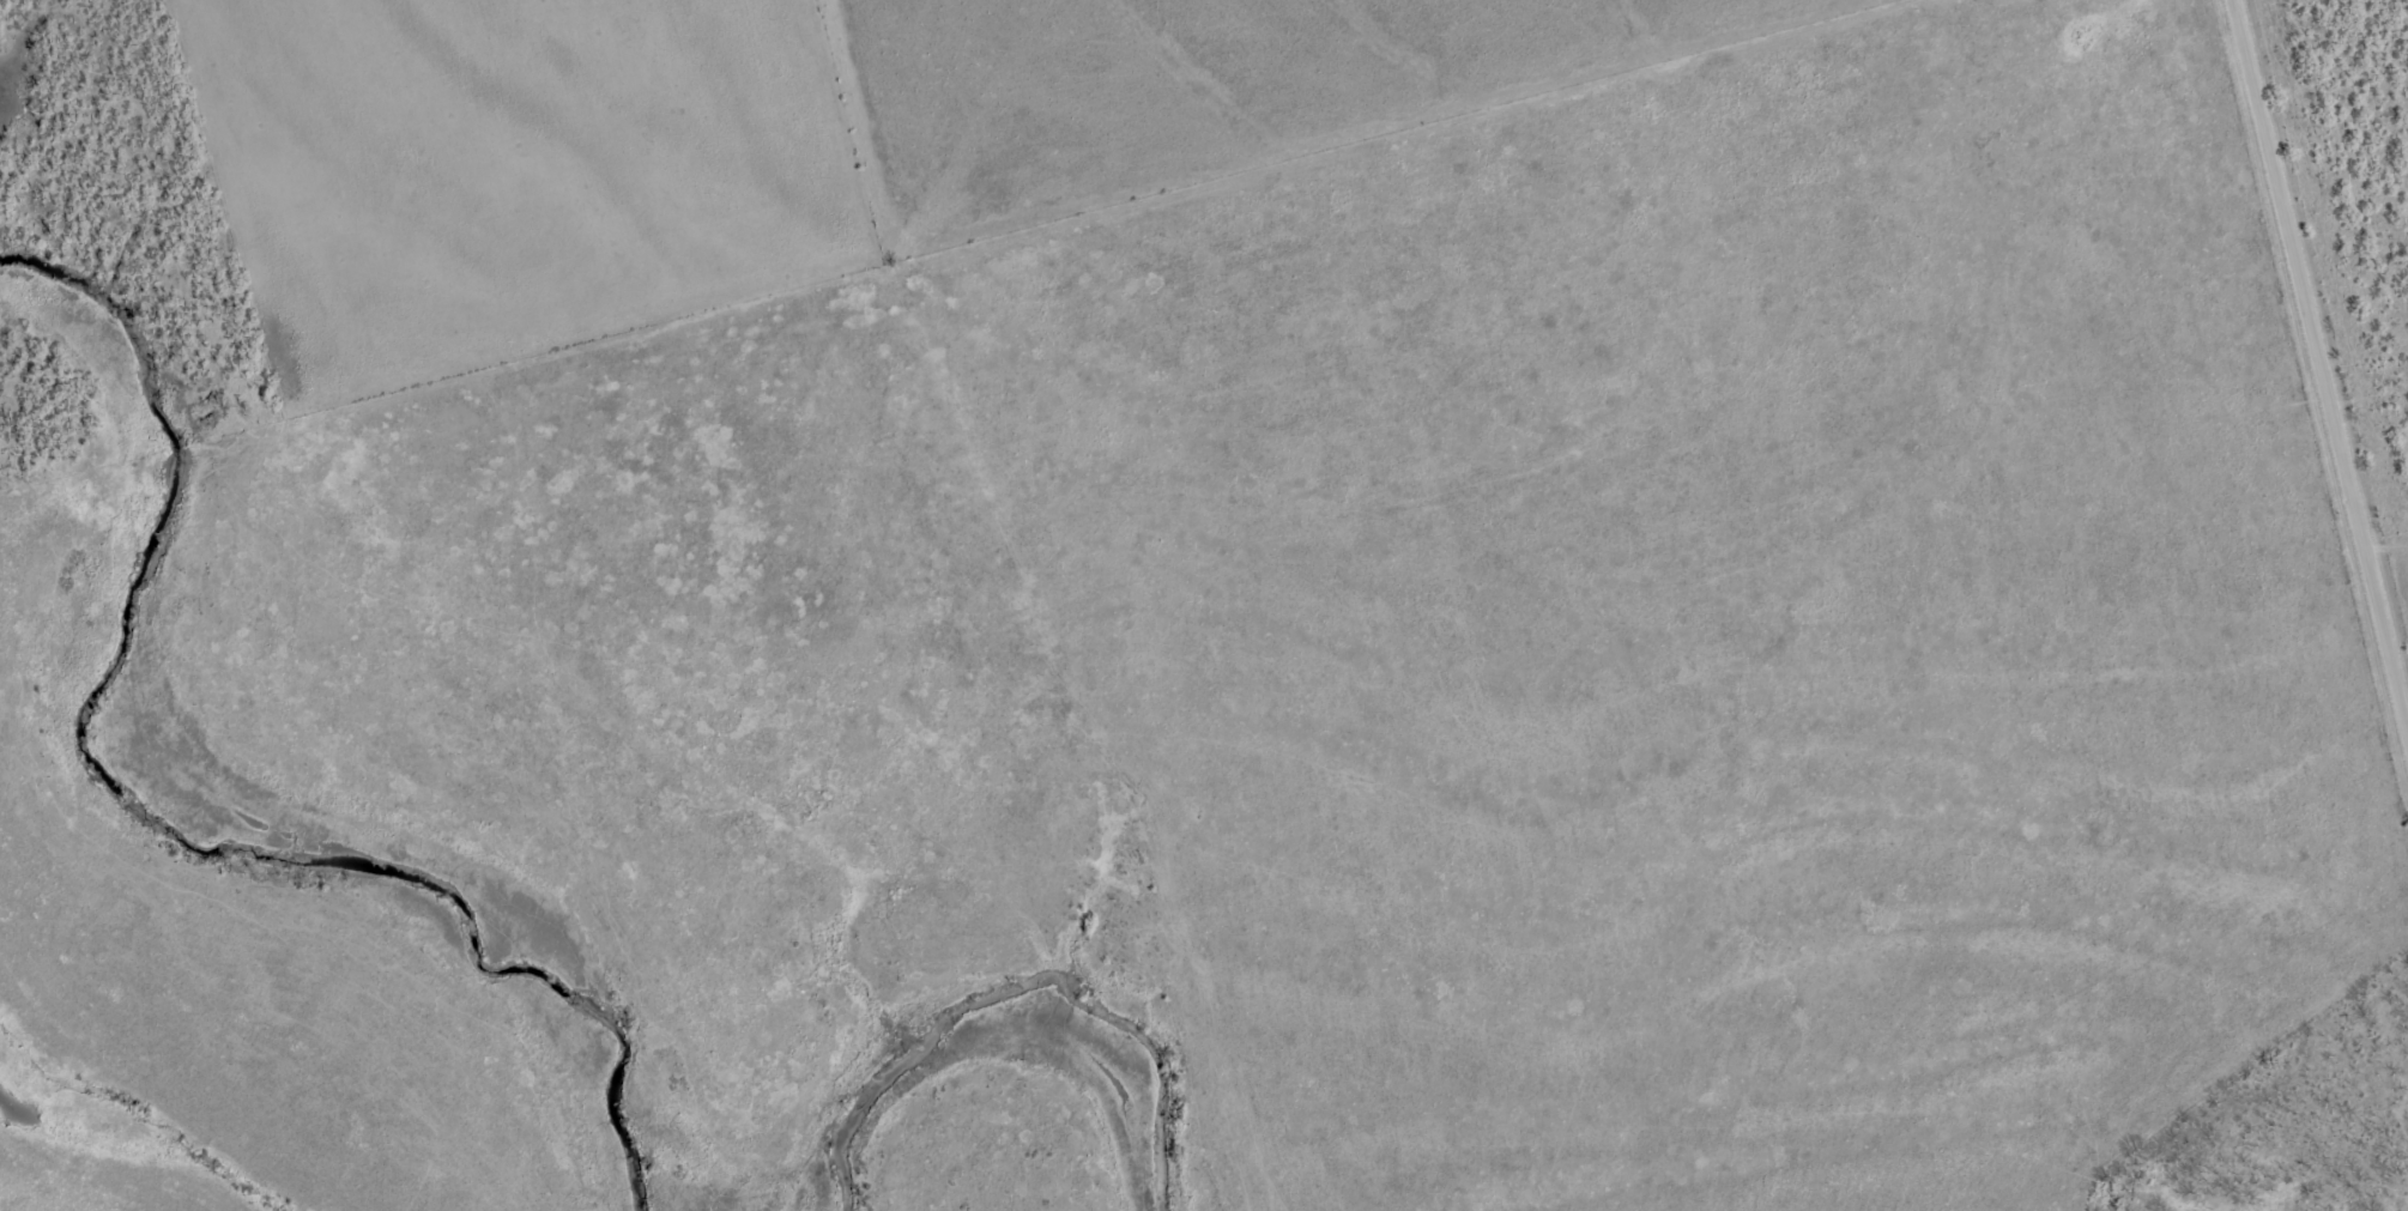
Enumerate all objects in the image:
road: (2323, 355)

